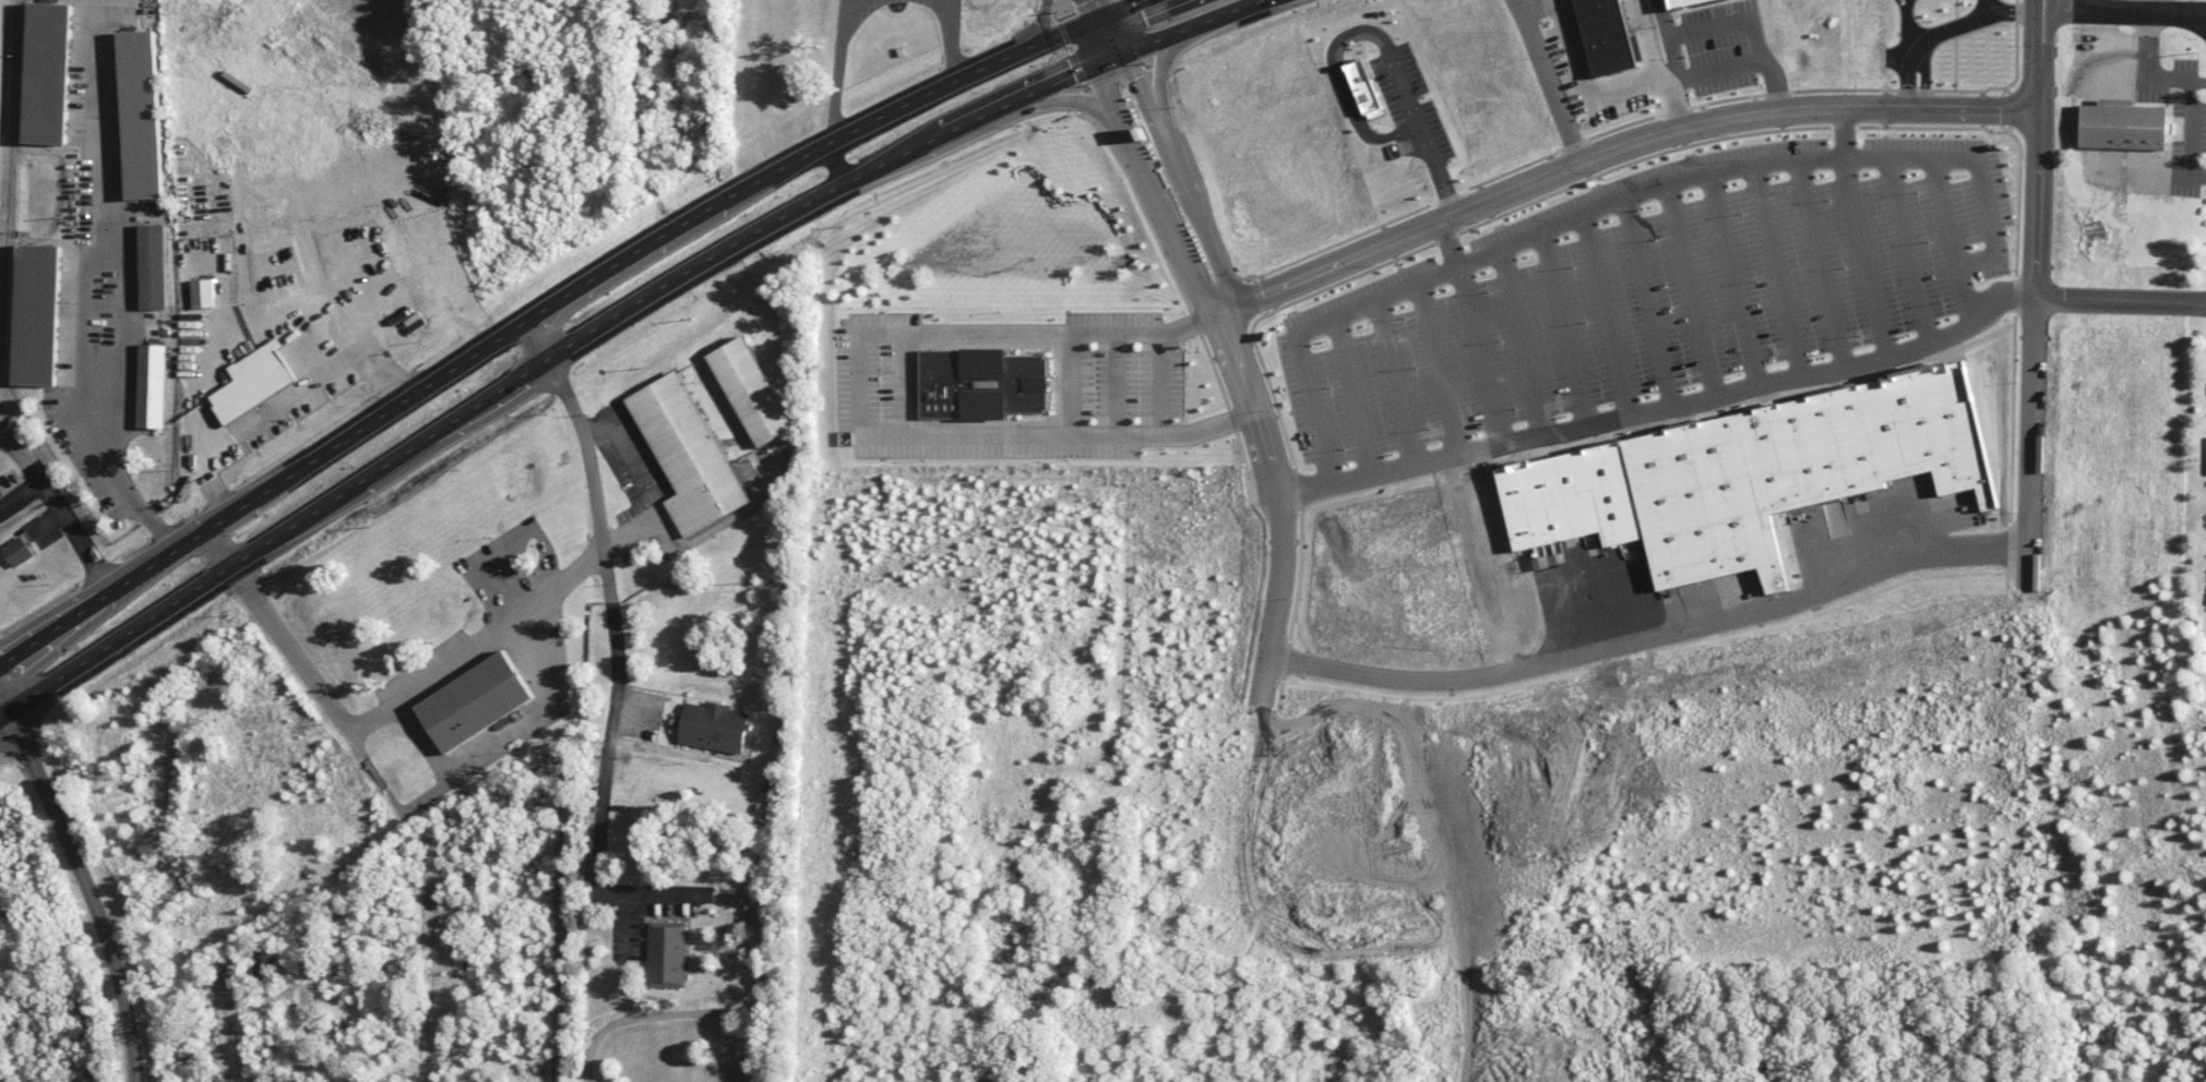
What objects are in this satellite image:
building: (1682, 2)
road: (1098, 5)
road: (1085, 8)
road: (2127, 10)
road: (1223, 15)
road: (1094, 17)
road: (1736, 19)
road: (1967, 21)
traffic signals: (1096, 24)
building: (1608, 36)
road: (2031, 36)
road: (2049, 37)
road: (949, 38)
road: (1102, 44)
road: (1671, 57)
traffic signals: (1110, 64)
road: (835, 68)
road: (974, 70)
road: (1710, 70)
building: (47, 73)
road: (2191, 77)
road: (1923, 80)
road: (1160, 81)
road: (1906, 81)
road: (1547, 82)
road: (1145, 92)
road: (1586, 92)
road: (2038, 92)
road: (1041, 93)
building: (140, 115)
road: (1012, 115)
building: (2122, 125)
road: (1838, 132)
road: (1617, 149)
road: (837, 164)
road: (1638, 190)
road: (1153, 194)
road: (1201, 224)
road: (1444, 244)
building: (153, 266)
building: (203, 293)
road: (2120, 298)
building: (37, 314)
road: (565, 347)
road: (2032, 347)
road: (112, 352)
road: (502, 360)
building: (253, 382)
road: (1159, 382)
building: (981, 384)
building: (152, 386)
building: (752, 390)
road: (392, 404)
road: (1660, 404)
road: (899, 405)
road: (3, 434)
road: (3, 438)
building: (688, 454)
building: (1792, 469)
road: (641, 484)
road: (21, 501)
road: (1278, 504)
road: (58, 516)
building: (16, 551)
road: (1651, 632)
road: (121, 637)
road: (618, 663)
building: (475, 701)
road: (3, 706)
road: (381, 711)
building: (713, 726)
road: (88, 891)
road: (559, 931)
building: (665, 953)
building: (262, 965)
road: (305, 1029)

